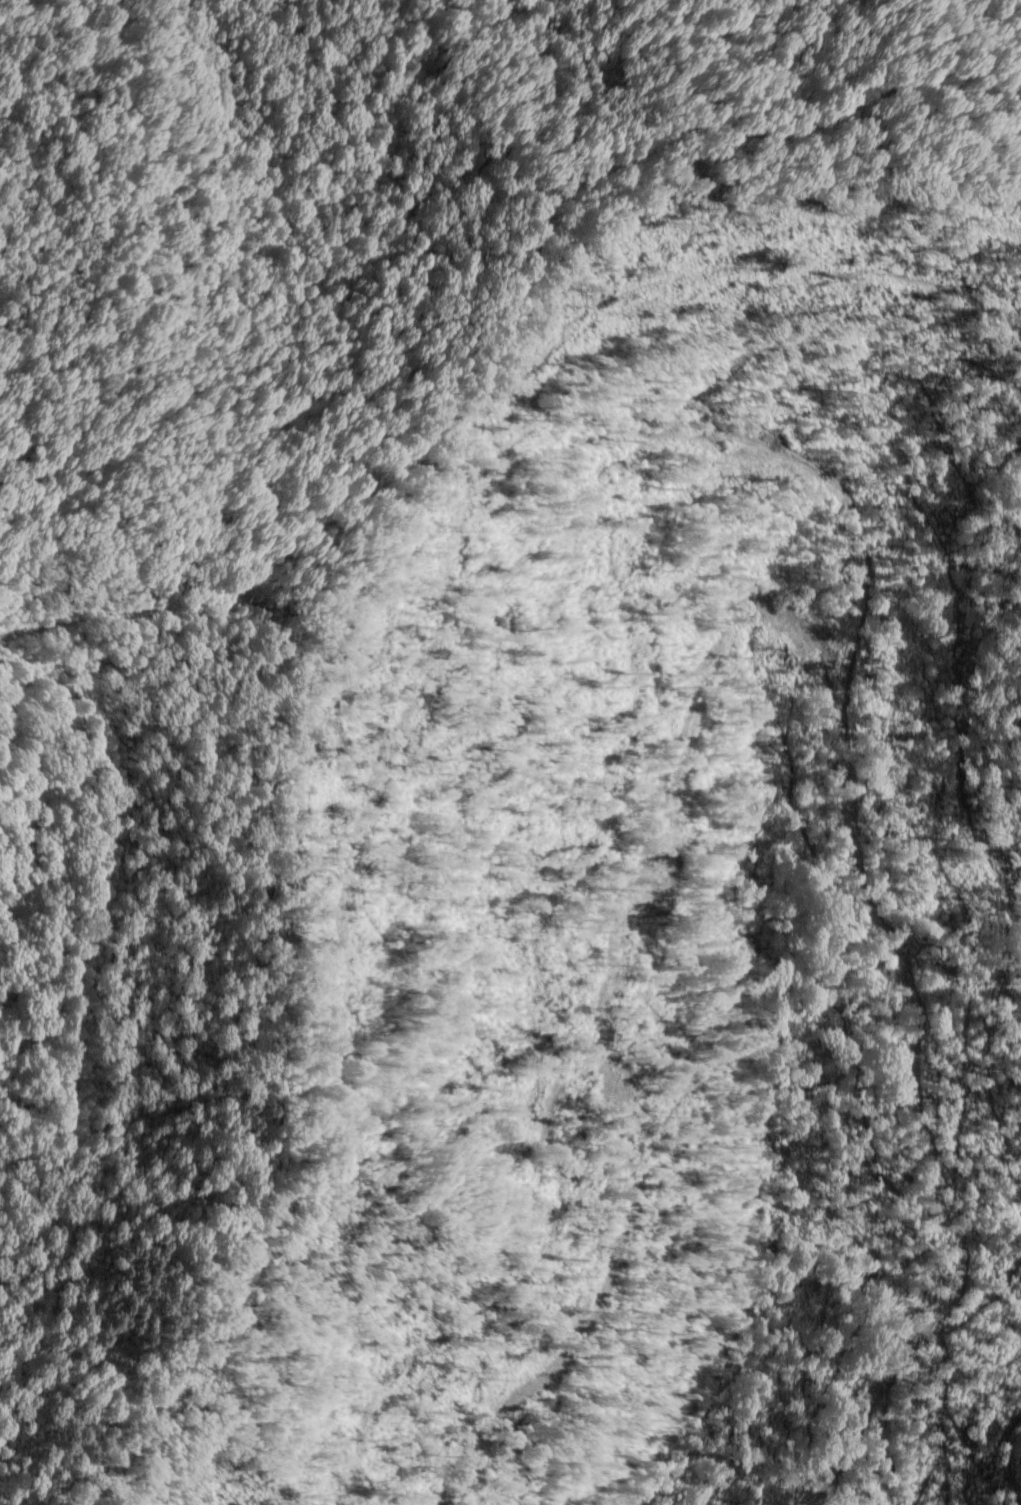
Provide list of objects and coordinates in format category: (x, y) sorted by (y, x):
road: (934, 1180)
road: (874, 1412)

